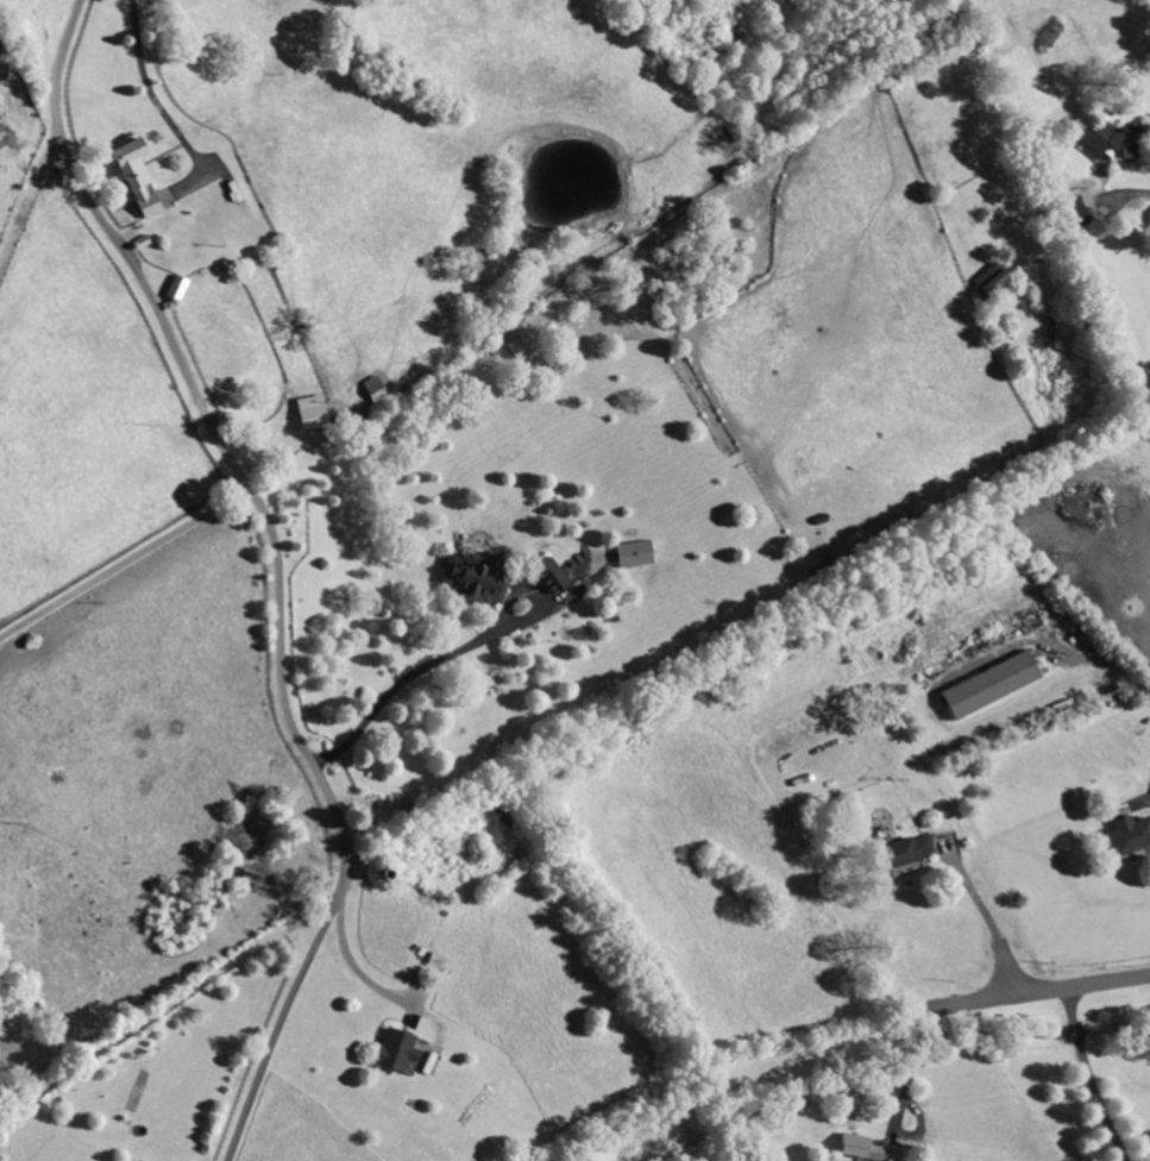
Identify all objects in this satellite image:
road: (143, 65)
building: (1102, 143)
building: (126, 163)
road: (30, 184)
road: (1135, 195)
building: (142, 201)
building: (1074, 212)
road: (691, 381)
building: (371, 389)
building: (308, 413)
road: (124, 554)
building: (631, 554)
road: (282, 569)
building: (546, 576)
building: (472, 579)
building: (1030, 620)
road: (1130, 667)
road: (392, 684)
building: (987, 686)
building: (1127, 835)
building: (904, 852)
road: (1000, 927)
road: (351, 960)
road: (1047, 990)
building: (392, 1052)
road: (1099, 1075)
road: (903, 1098)
building: (862, 1149)

